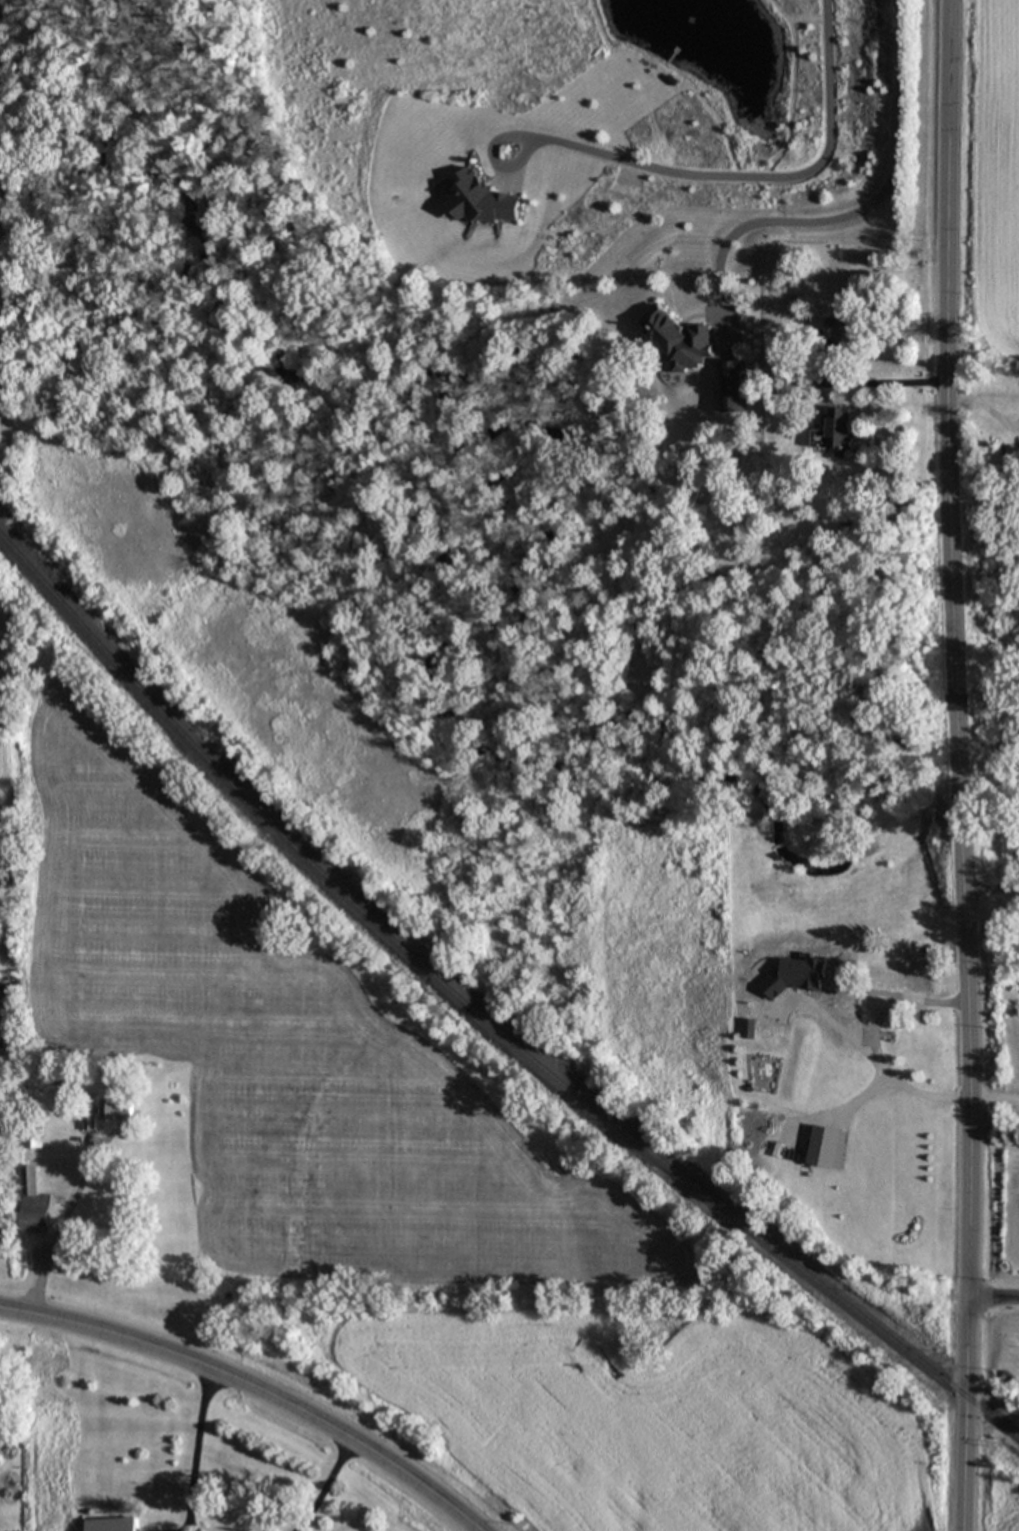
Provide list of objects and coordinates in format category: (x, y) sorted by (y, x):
road: (750, 178)
building: (481, 199)
road: (849, 214)
building: (843, 332)
road: (879, 381)
building: (736, 386)
building: (837, 432)
road: (958, 765)
road: (990, 886)
building: (923, 981)
railway: (481, 1016)
building: (852, 1033)
road: (876, 1042)
building: (118, 1109)
building: (33, 1141)
building: (35, 1202)
road: (57, 1233)
road: (992, 1300)
road: (254, 1389)
road: (196, 1450)
road: (325, 1486)

